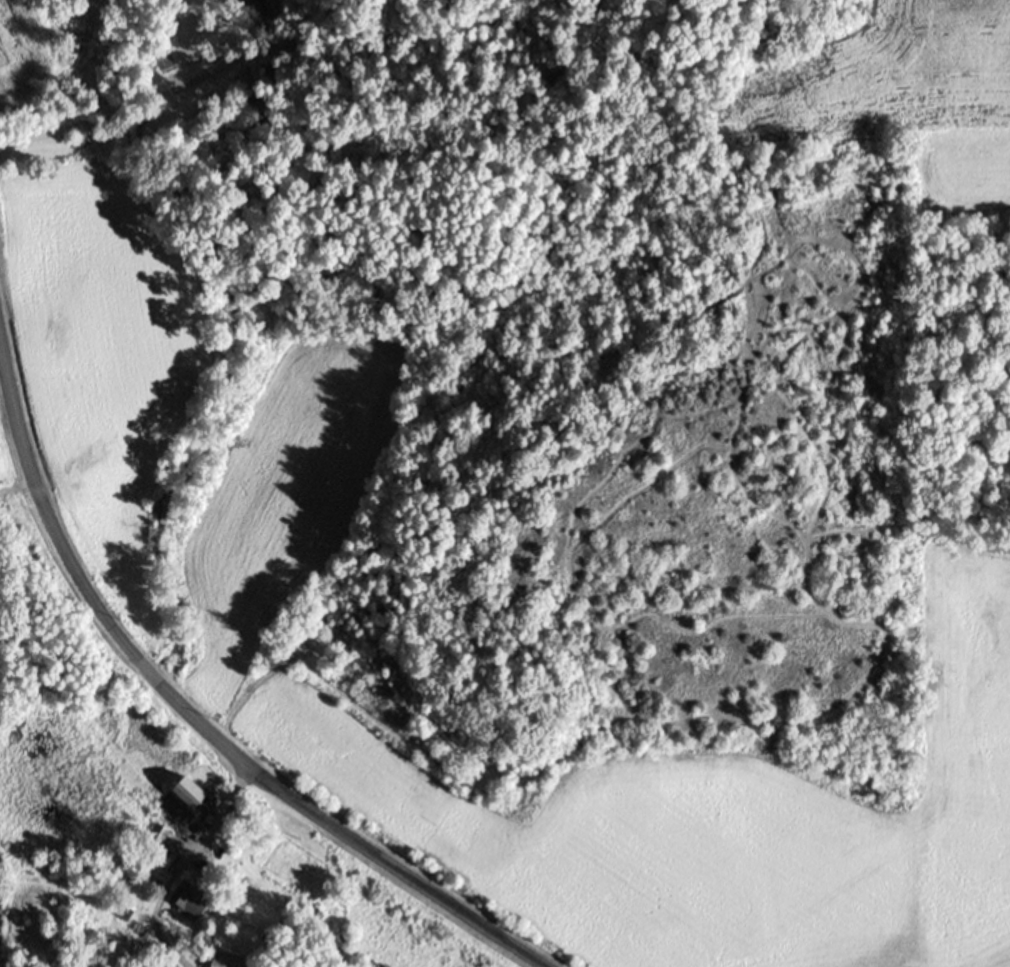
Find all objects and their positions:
building: (260, 7)
building: (255, 97)
road: (136, 110)
road: (195, 721)
building: (187, 790)
road: (219, 816)
building: (156, 834)
building: (188, 896)
building: (122, 910)
building: (227, 959)

